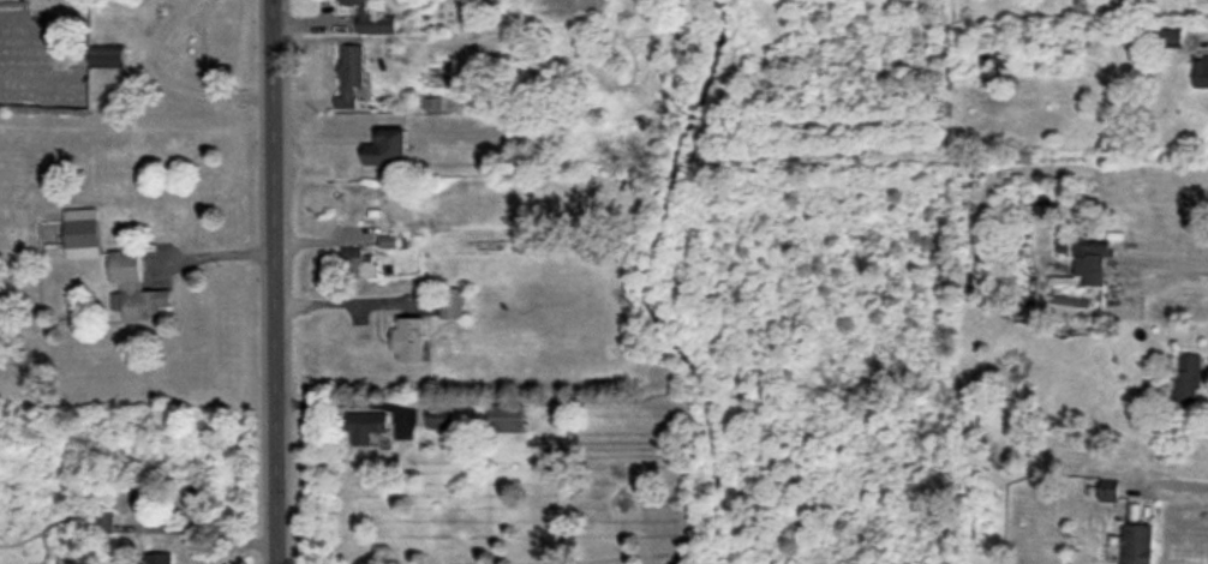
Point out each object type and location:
building: (371, 18)
building: (1171, 37)
building: (106, 56)
building: (1201, 72)
building: (348, 74)
road: (163, 84)
building: (387, 148)
building: (82, 232)
building: (1089, 260)
road: (1165, 262)
building: (359, 263)
road: (271, 282)
building: (134, 288)
road: (345, 302)
building: (450, 304)
building: (409, 340)
building: (1186, 380)
road: (342, 401)
building: (506, 418)
building: (441, 419)
building: (365, 426)
road: (1174, 486)
building: (1108, 491)
building: (104, 522)
building: (1137, 544)
building: (1114, 548)
building: (157, 558)

